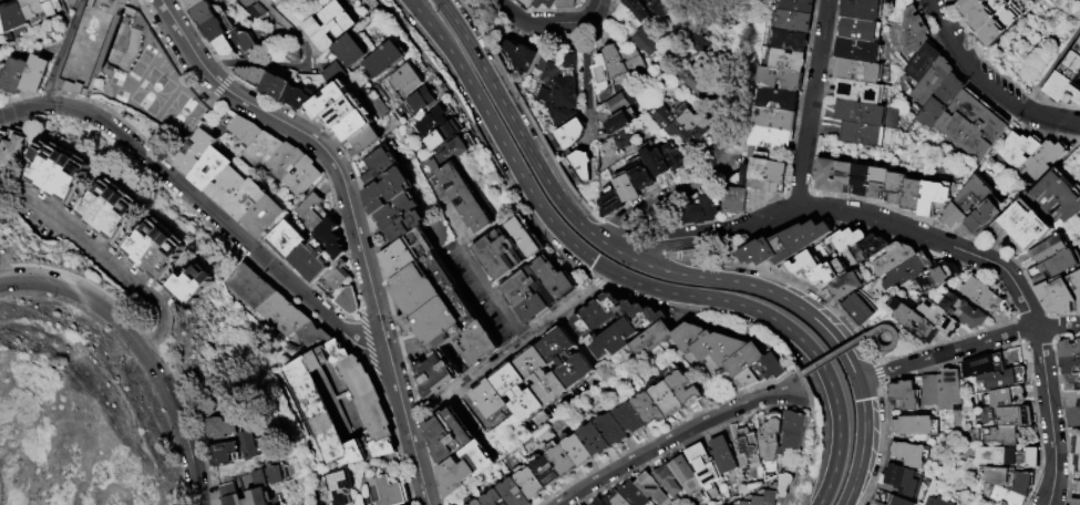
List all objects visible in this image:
building: (65, 0)
building: (305, 0)
building: (524, 3)
building: (542, 3)
building: (563, 3)
building: (196, 4)
building: (798, 6)
building: (968, 6)
building: (52, 8)
building: (658, 8)
building: (33, 9)
building: (637, 10)
building: (861, 10)
building: (986, 12)
building: (209, 14)
road: (592, 14)
building: (16, 17)
road: (750, 17)
building: (794, 21)
road: (533, 23)
building: (998, 23)
building: (2, 24)
building: (331, 27)
building: (220, 30)
building: (857, 30)
building: (914, 32)
building: (790, 41)
building: (645, 44)
building: (699, 44)
building: (95, 45)
building: (236, 45)
park: (1029, 49)
building: (856, 50)
building: (352, 51)
road: (63, 52)
building: (388, 59)
building: (522, 59)
building: (786, 60)
road: (291, 62)
building: (614, 63)
building: (924, 63)
building: (632, 64)
road: (1051, 70)
road: (585, 71)
building: (857, 71)
building: (551, 72)
building: (2, 73)
road: (998, 73)
building: (599, 74)
building: (255, 75)
building: (19, 76)
building: (39, 76)
building: (780, 78)
building: (1066, 79)
building: (410, 80)
building: (693, 83)
building: (934, 83)
road: (988, 83)
building: (278, 87)
building: (560, 92)
building: (857, 92)
building: (775, 97)
building: (299, 99)
building: (424, 100)
building: (331, 101)
road: (455, 101)
road: (734, 101)
building: (620, 103)
road: (812, 103)
building: (943, 103)
building: (356, 106)
building: (860, 113)
building: (559, 116)
building: (774, 118)
building: (364, 122)
building: (689, 122)
building: (434, 123)
building: (620, 123)
building: (974, 126)
building: (670, 127)
road: (517, 128)
building: (247, 131)
building: (862, 134)
building: (445, 135)
building: (569, 135)
building: (771, 137)
building: (620, 138)
building: (367, 142)
road: (502, 142)
building: (3, 144)
building: (16, 147)
building: (459, 150)
building: (264, 151)
building: (198, 152)
building: (1030, 155)
building: (672, 158)
building: (286, 162)
building: (656, 164)
building: (381, 165)
building: (580, 165)
building: (759, 169)
building: (212, 171)
building: (59, 172)
building: (744, 174)
building: (825, 174)
building: (775, 176)
building: (304, 177)
building: (843, 177)
building: (861, 179)
building: (877, 182)
building: (228, 187)
building: (894, 189)
building: (626, 190)
building: (389, 192)
building: (912, 195)
building: (933, 197)
building: (1055, 197)
building: (469, 198)
building: (734, 200)
building: (247, 202)
road: (197, 203)
road: (660, 203)
building: (966, 203)
building: (610, 205)
road: (296, 209)
building: (702, 209)
building: (110, 210)
building: (398, 212)
building: (315, 213)
road: (853, 213)
road: (351, 215)
building: (265, 217)
building: (983, 218)
building: (408, 227)
building: (1025, 227)
building: (844, 239)
building: (288, 241)
building: (783, 245)
building: (871, 247)
building: (419, 248)
building: (511, 249)
building: (156, 250)
building: (1048, 250)
building: (322, 256)
building: (893, 258)
building: (801, 265)
road: (2, 266)
road: (123, 267)
building: (1052, 268)
traffic signals: (609, 271)
building: (906, 271)
building: (825, 274)
building: (339, 277)
building: (936, 277)
building: (192, 286)
building: (250, 286)
building: (844, 286)
road: (484, 287)
building: (539, 290)
building: (1061, 295)
building: (981, 296)
building: (349, 302)
building: (433, 305)
building: (858, 309)
road: (806, 312)
building: (963, 312)
building: (282, 315)
building: (938, 318)
building: (913, 320)
building: (615, 323)
road: (1059, 329)
road: (790, 330)
road: (895, 331)
road: (534, 334)
road: (517, 336)
building: (311, 338)
road: (864, 338)
building: (479, 344)
road: (143, 347)
building: (704, 347)
road: (960, 348)
building: (1068, 349)
building: (567, 359)
road: (878, 361)
building: (981, 364)
building: (1069, 365)
building: (438, 374)
building: (762, 374)
road: (870, 374)
building: (543, 377)
road: (801, 377)
traffic signals: (856, 379)
building: (1000, 379)
building: (1070, 382)
building: (686, 390)
building: (949, 390)
building: (914, 392)
building: (520, 393)
building: (1005, 396)
building: (1071, 399)
building: (490, 400)
building: (668, 401)
building: (649, 411)
park: (78, 413)
building: (325, 414)
building: (1012, 416)
road: (1050, 416)
building: (1072, 418)
building: (631, 421)
building: (915, 425)
building: (224, 429)
building: (614, 431)
building: (796, 431)
building: (450, 435)
building: (1002, 436)
building: (772, 437)
road: (677, 439)
building: (597, 442)
building: (1074, 445)
building: (749, 447)
building: (245, 450)
building: (580, 452)
building: (908, 454)
building: (724, 456)
building: (1006, 456)
building: (564, 462)
building: (1076, 464)
road: (31, 466)
building: (706, 466)
building: (465, 470)
building: (547, 473)
building: (688, 476)
building: (903, 481)
building: (669, 482)
building: (532, 485)
building: (1008, 485)
building: (339, 486)
building: (258, 487)
building: (1078, 487)
building: (654, 489)
building: (387, 493)
building: (514, 493)
building: (774, 493)
building: (636, 495)
building: (493, 498)
building: (617, 499)
building: (600, 502)
building: (897, 502)
building: (936, 502)
building: (1074, 502)
building: (477, 503)
building: (875, 503)
building: (506, 504)

